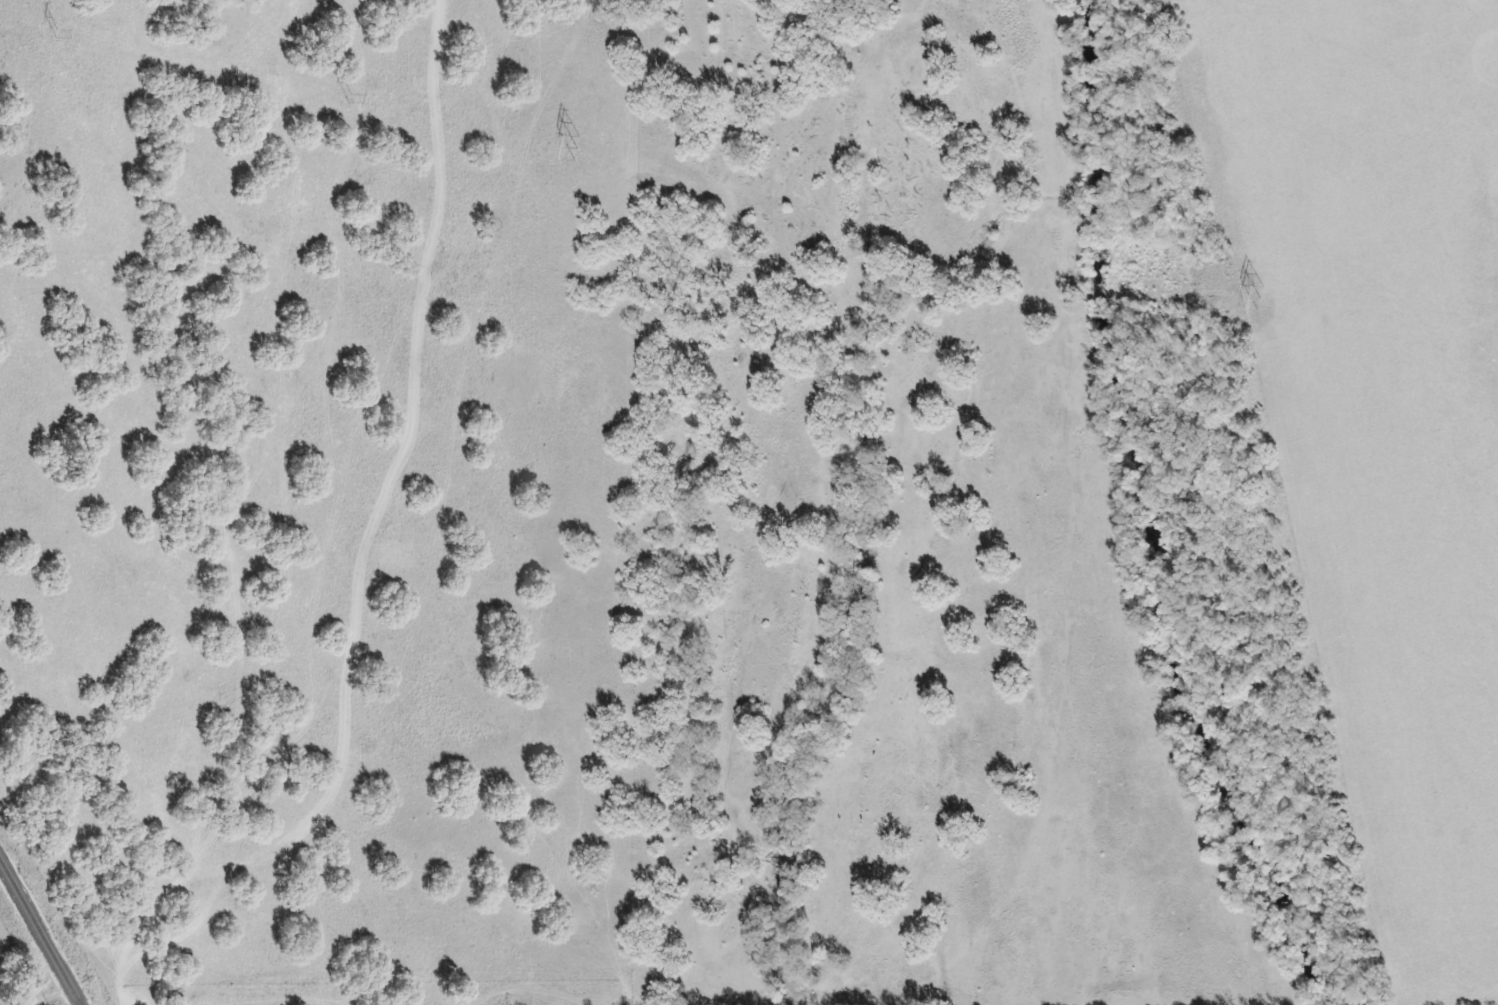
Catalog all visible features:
power tower: (64, 34)
power tower: (357, 99)
power tower: (585, 146)
power tower: (1266, 299)
river: (1141, 516)
road: (256, 859)
railway: (37, 936)

